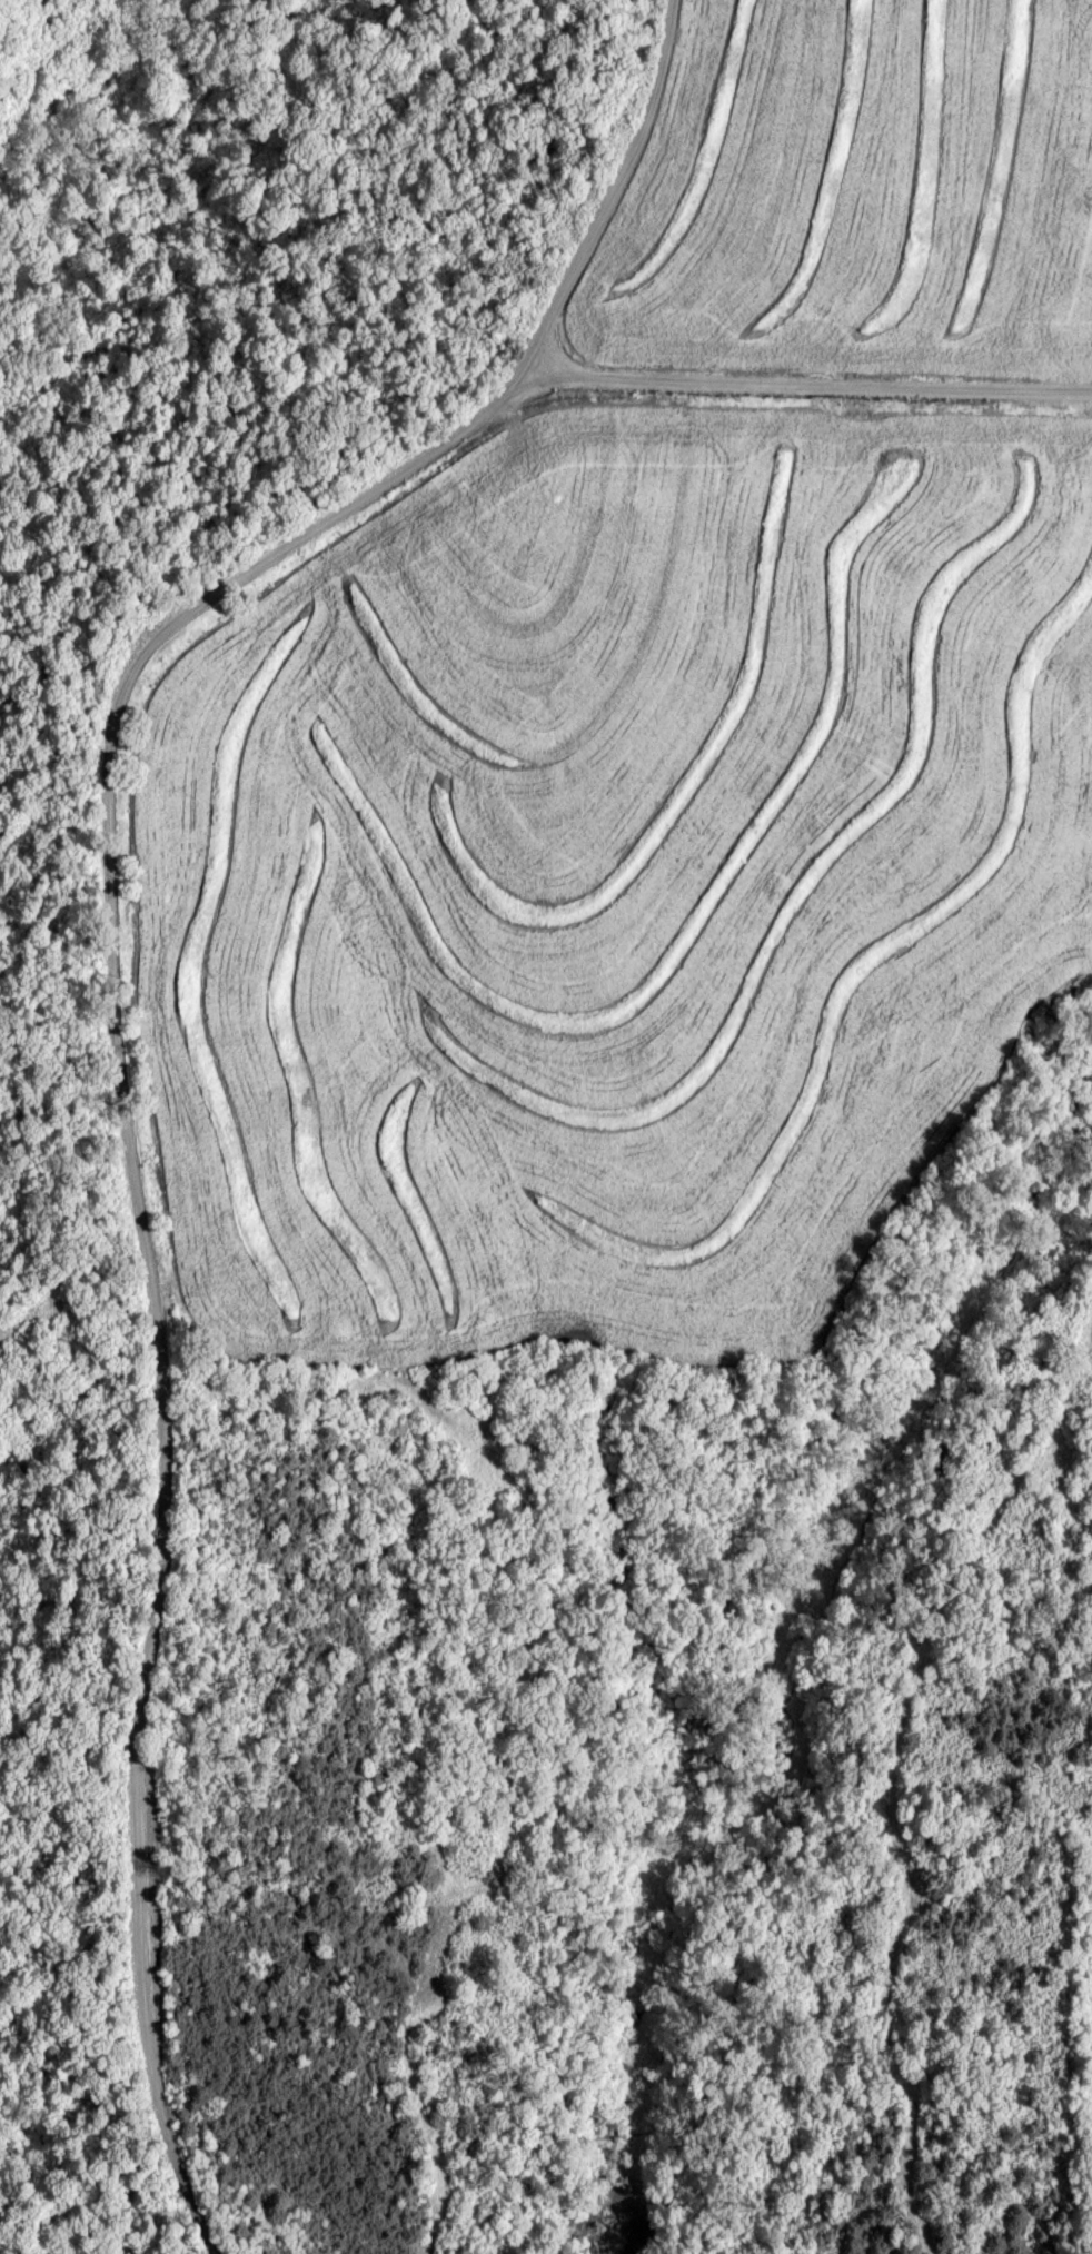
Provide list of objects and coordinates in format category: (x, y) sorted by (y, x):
road: (827, 363)
road: (123, 1039)

